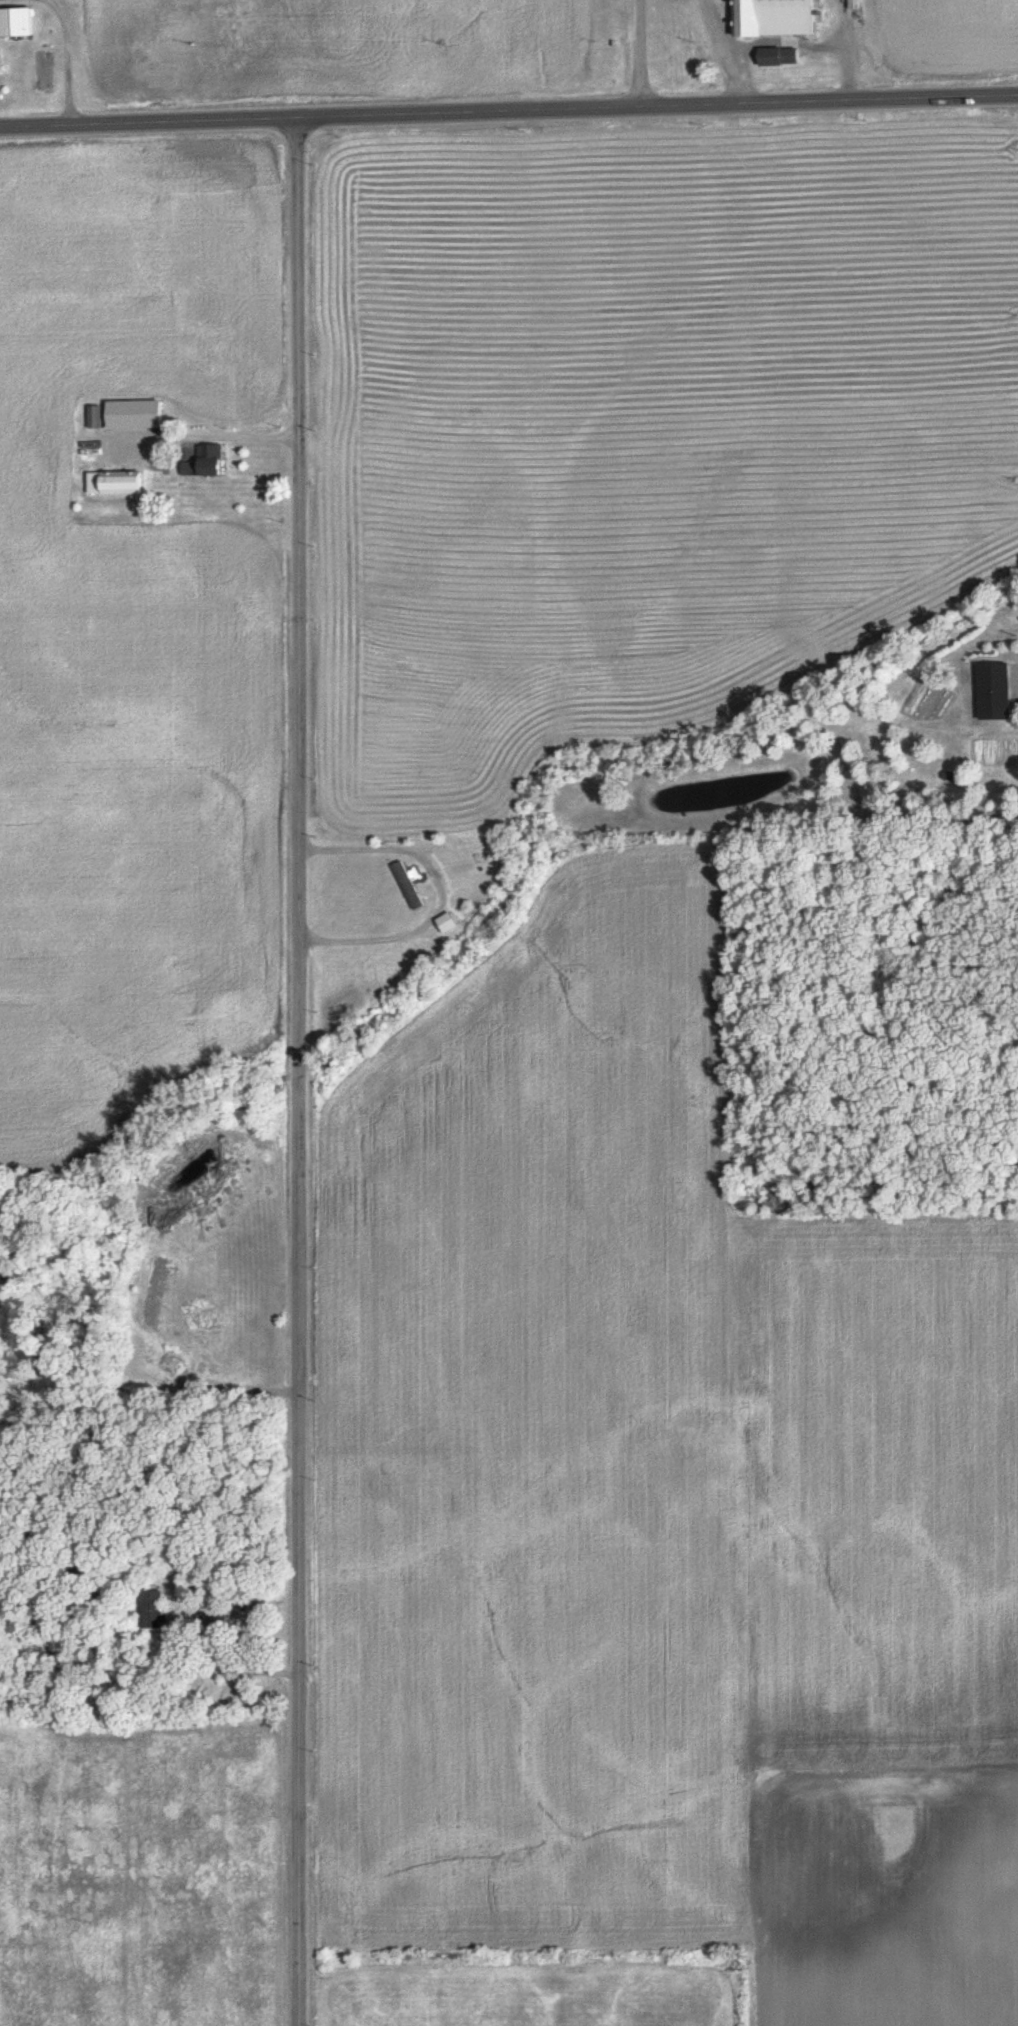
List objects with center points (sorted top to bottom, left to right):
building: (776, 18)
building: (17, 23)
crop: (948, 37)
crop: (326, 47)
road: (813, 53)
road: (729, 55)
road: (647, 56)
building: (781, 57)
road: (657, 112)
road: (148, 127)
building: (136, 415)
building: (93, 417)
crop: (641, 434)
building: (206, 462)
building: (116, 483)
crop: (131, 644)
building: (996, 691)
building: (409, 884)
building: (448, 922)
road: (290, 1074)
crop: (528, 1436)
crop: (887, 1619)
road: (206, 1642)
crop: (522, 1997)

